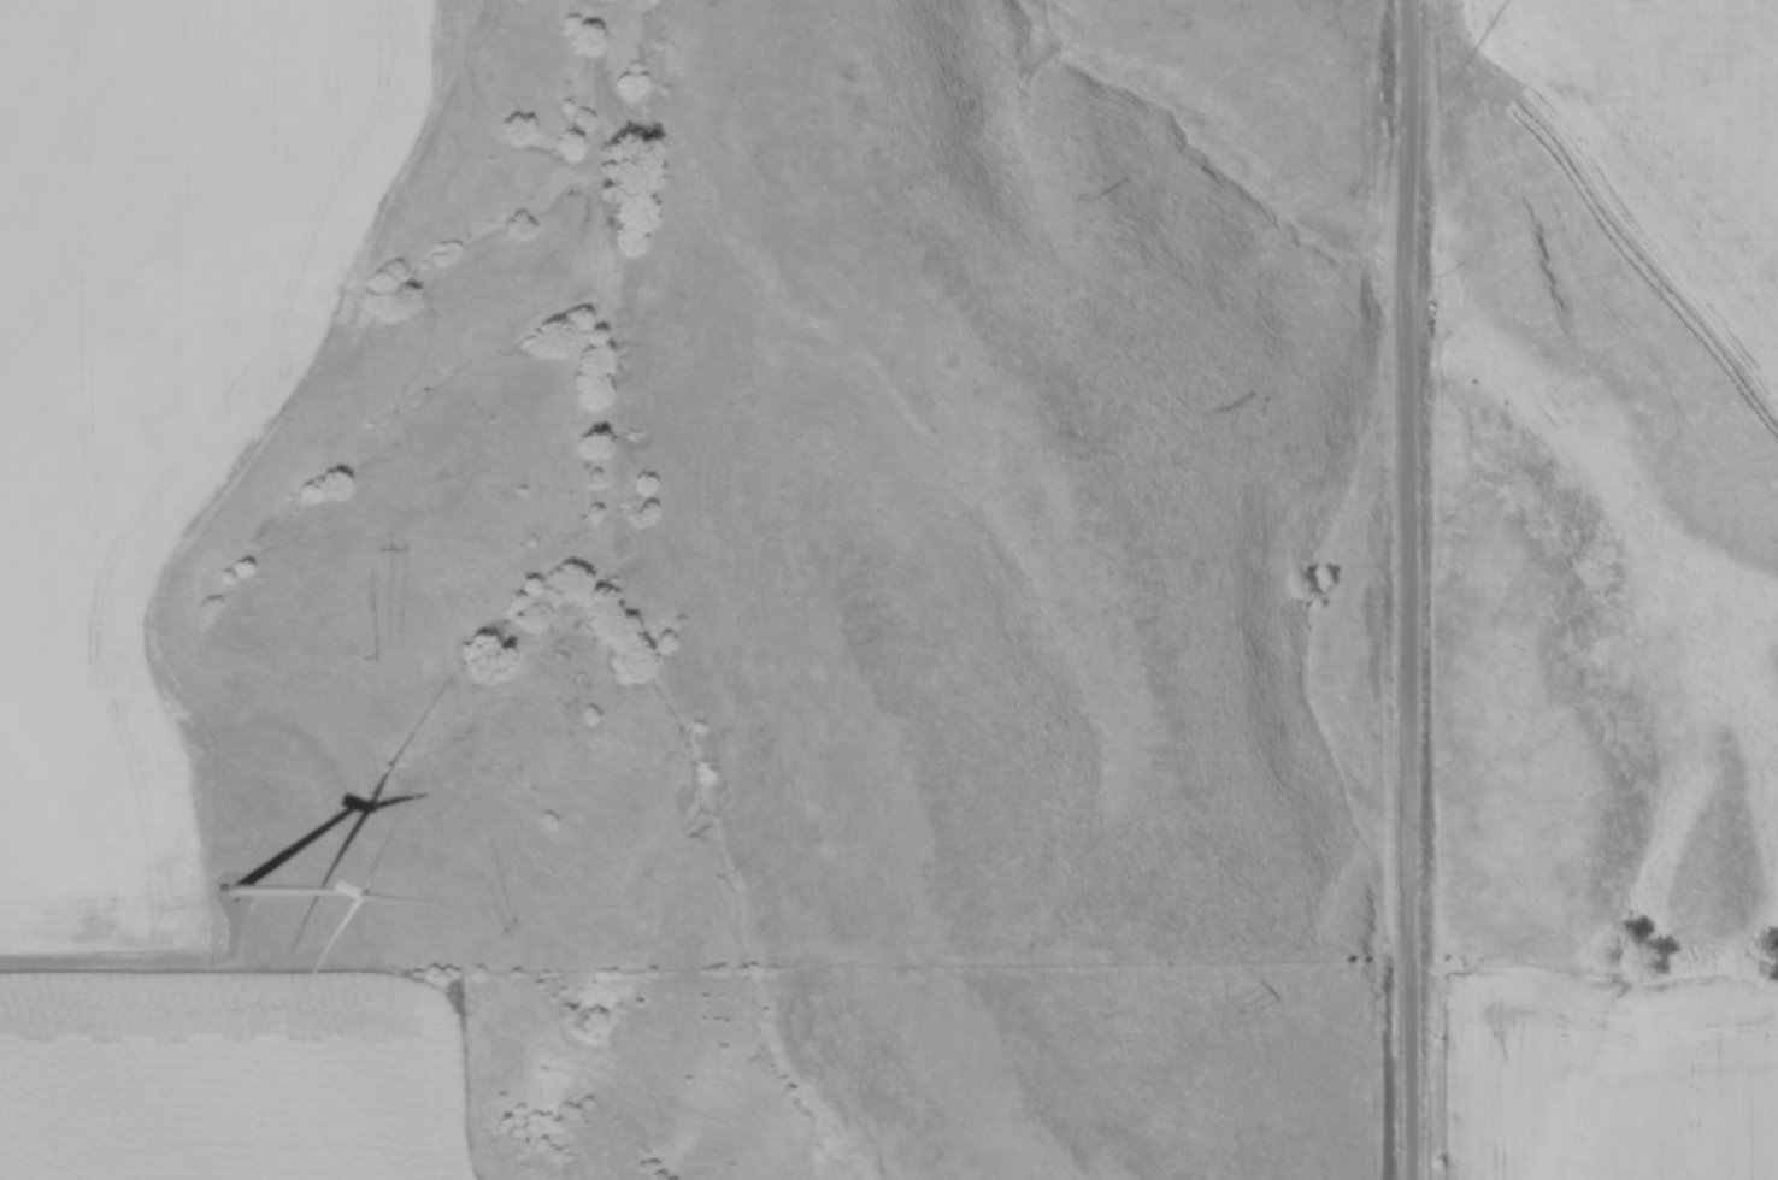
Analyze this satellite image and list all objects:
power tower: (1095, 197)
power tower: (1224, 408)
road: (1418, 590)
wind turbine: (232, 890)
road: (102, 972)
power tower: (1250, 1002)

